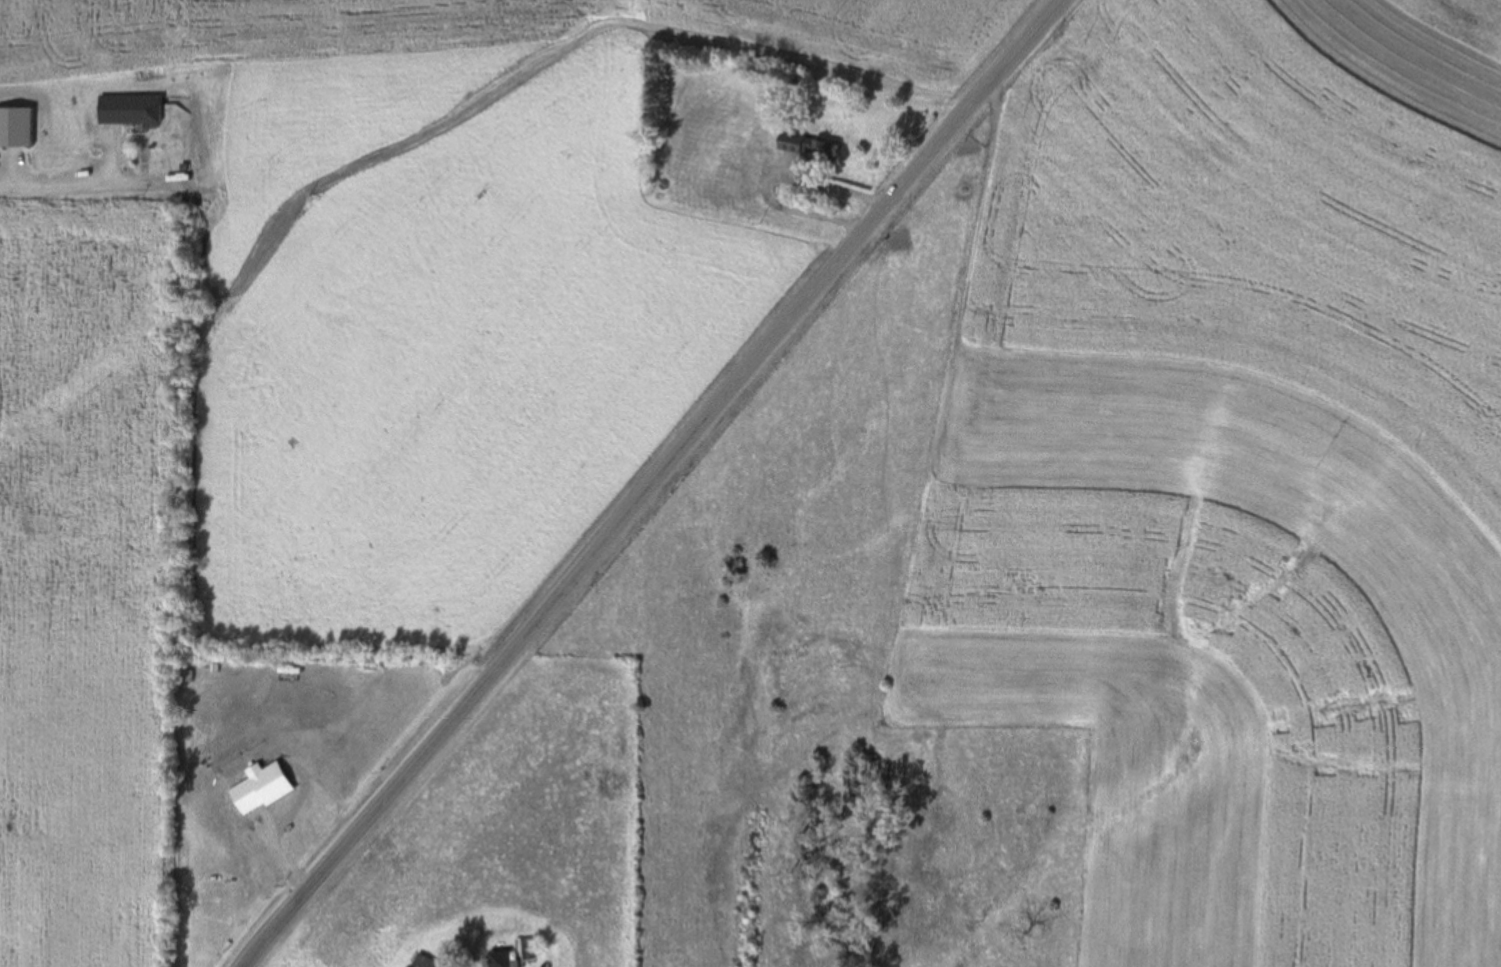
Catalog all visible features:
building: (128, 110)
building: (807, 146)
road: (652, 482)
building: (501, 959)
building: (423, 961)

